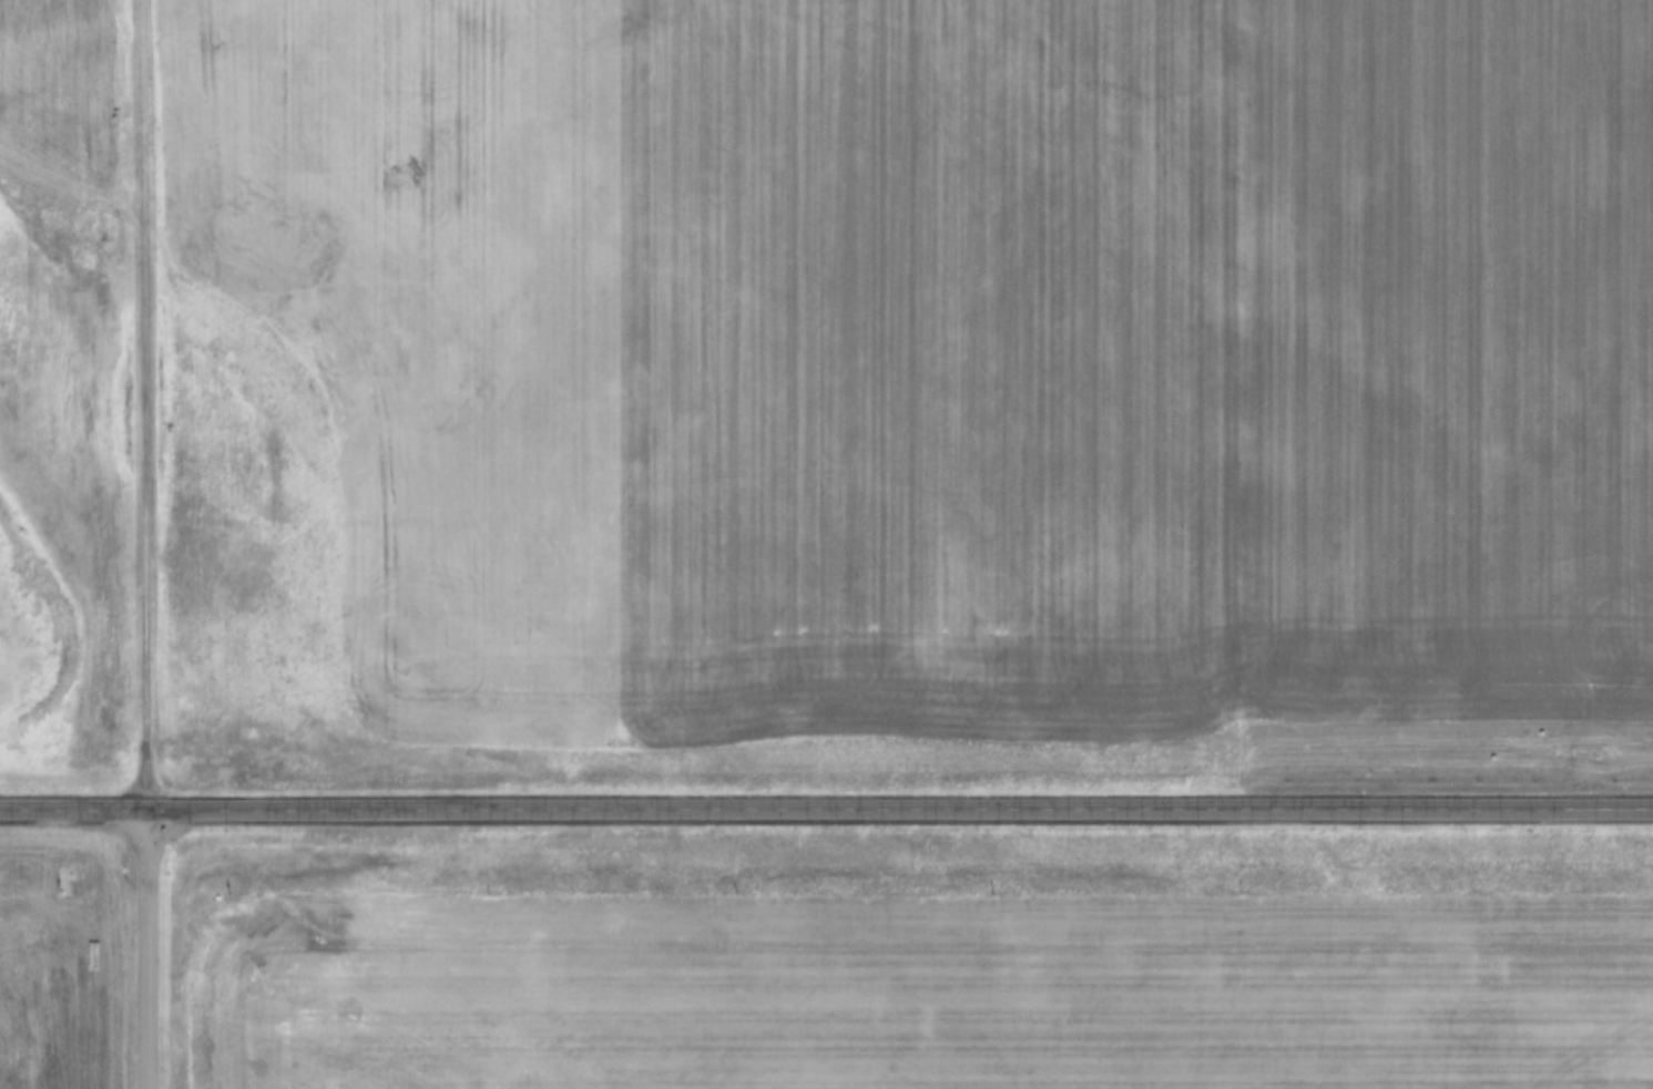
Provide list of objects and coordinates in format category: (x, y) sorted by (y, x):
road: (147, 404)
road: (826, 812)
road: (149, 949)

